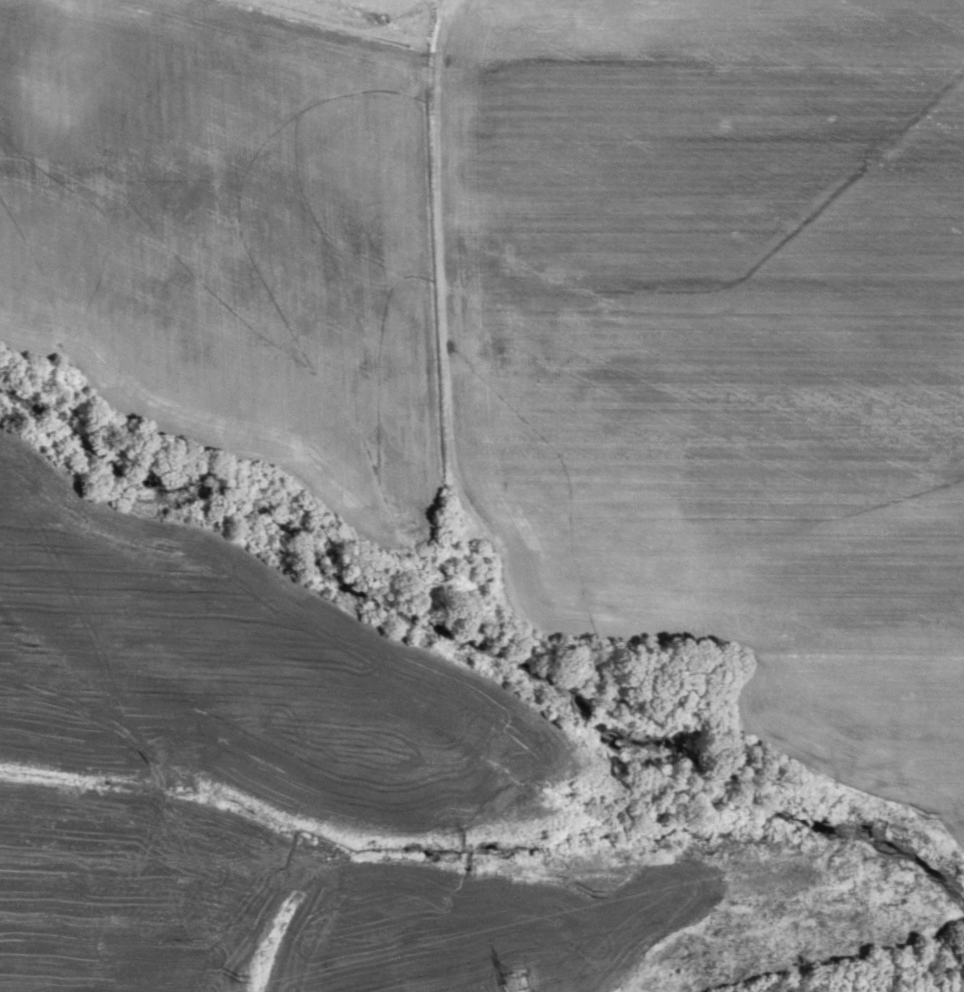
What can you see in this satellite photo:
power tower: (518, 978)

